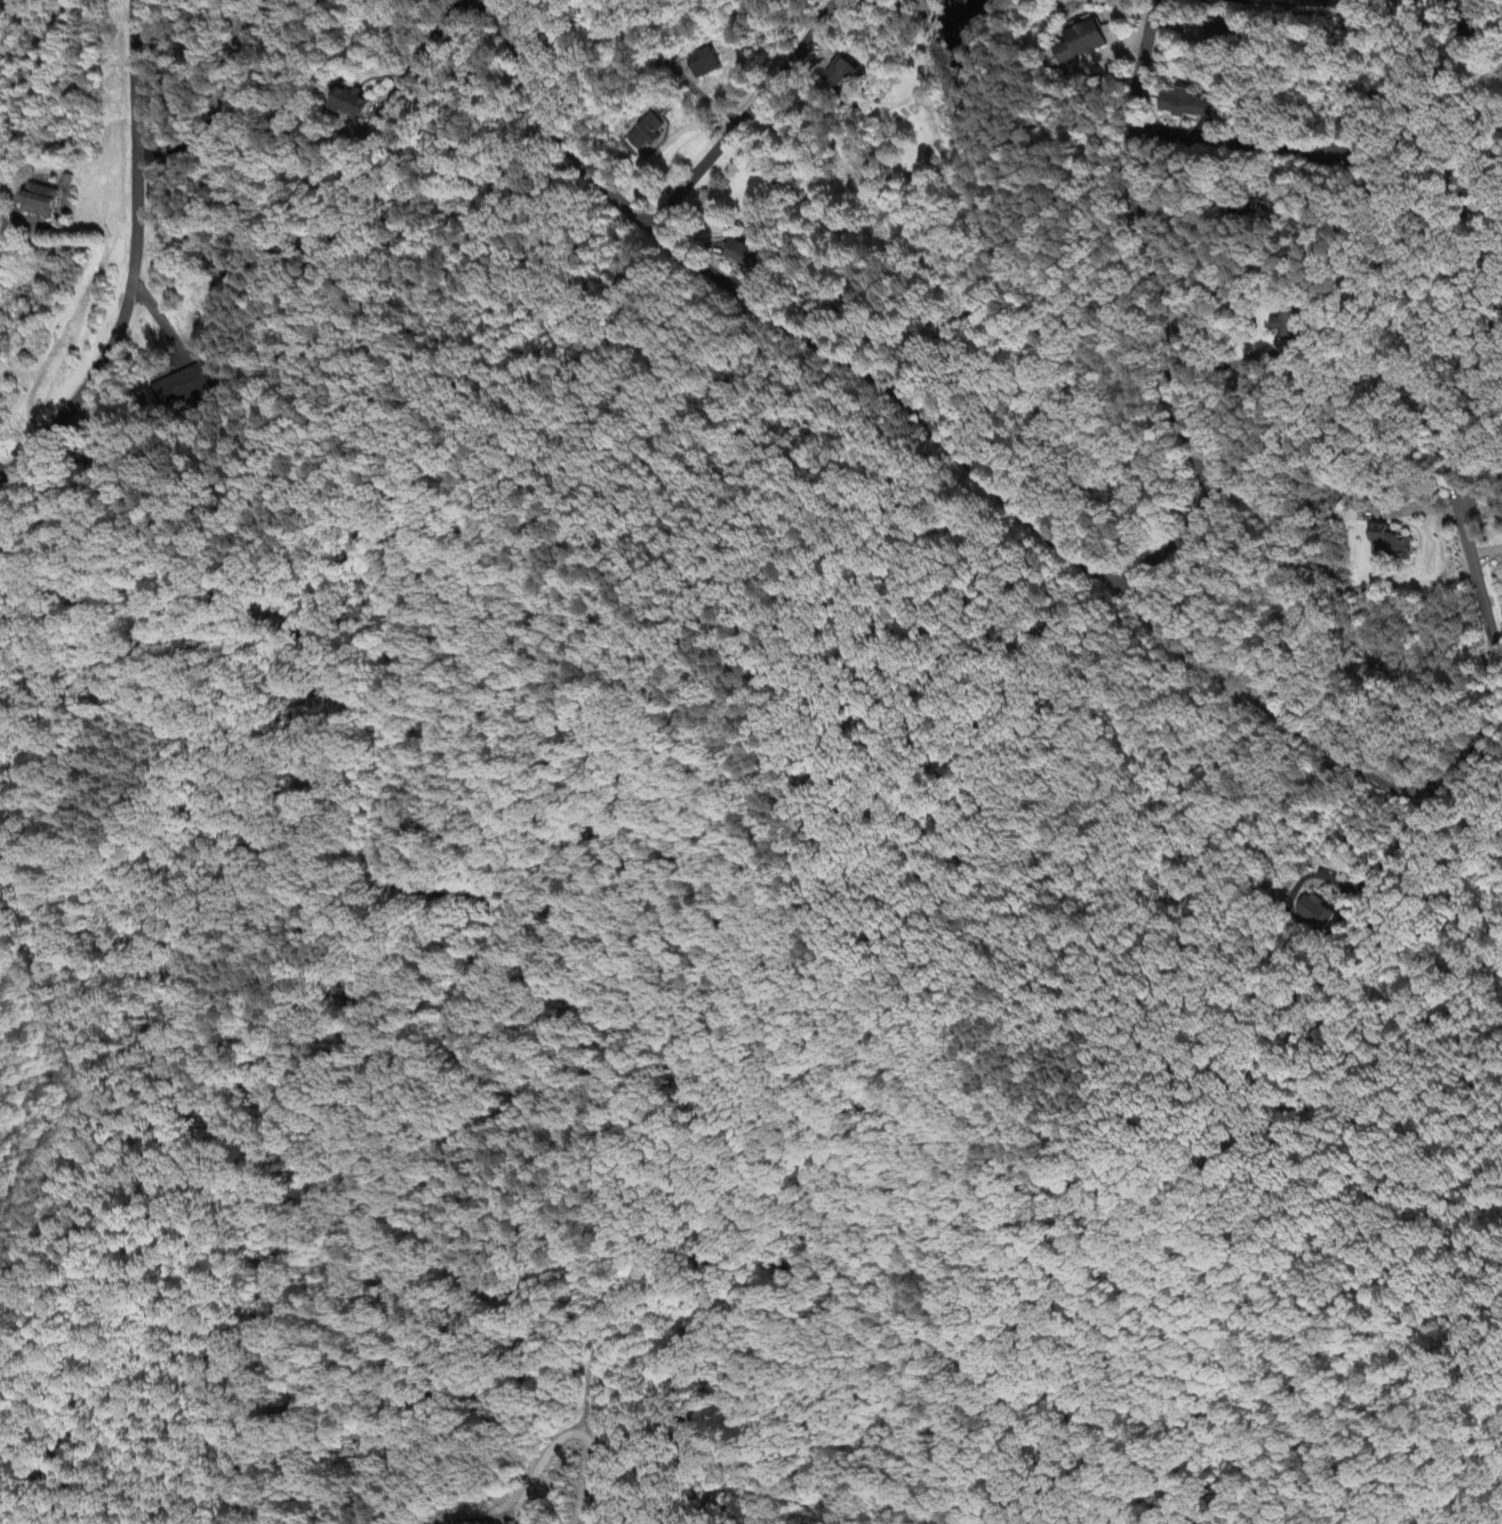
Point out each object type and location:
road: (1293, 1)
park: (5, 8)
building: (1223, 32)
road: (437, 33)
building: (1082, 43)
building: (702, 63)
building: (842, 72)
building: (353, 103)
building: (1188, 106)
road: (745, 119)
road: (553, 124)
building: (642, 135)
road: (1232, 142)
building: (39, 202)
building: (1270, 203)
road: (12, 229)
building: (745, 257)
road: (133, 259)
road: (1169, 316)
building: (1286, 325)
building: (183, 386)
road: (900, 397)
building: (1393, 543)
road: (1411, 788)
road: (1397, 847)
building: (1317, 913)
road: (586, 1479)
road: (526, 1483)

